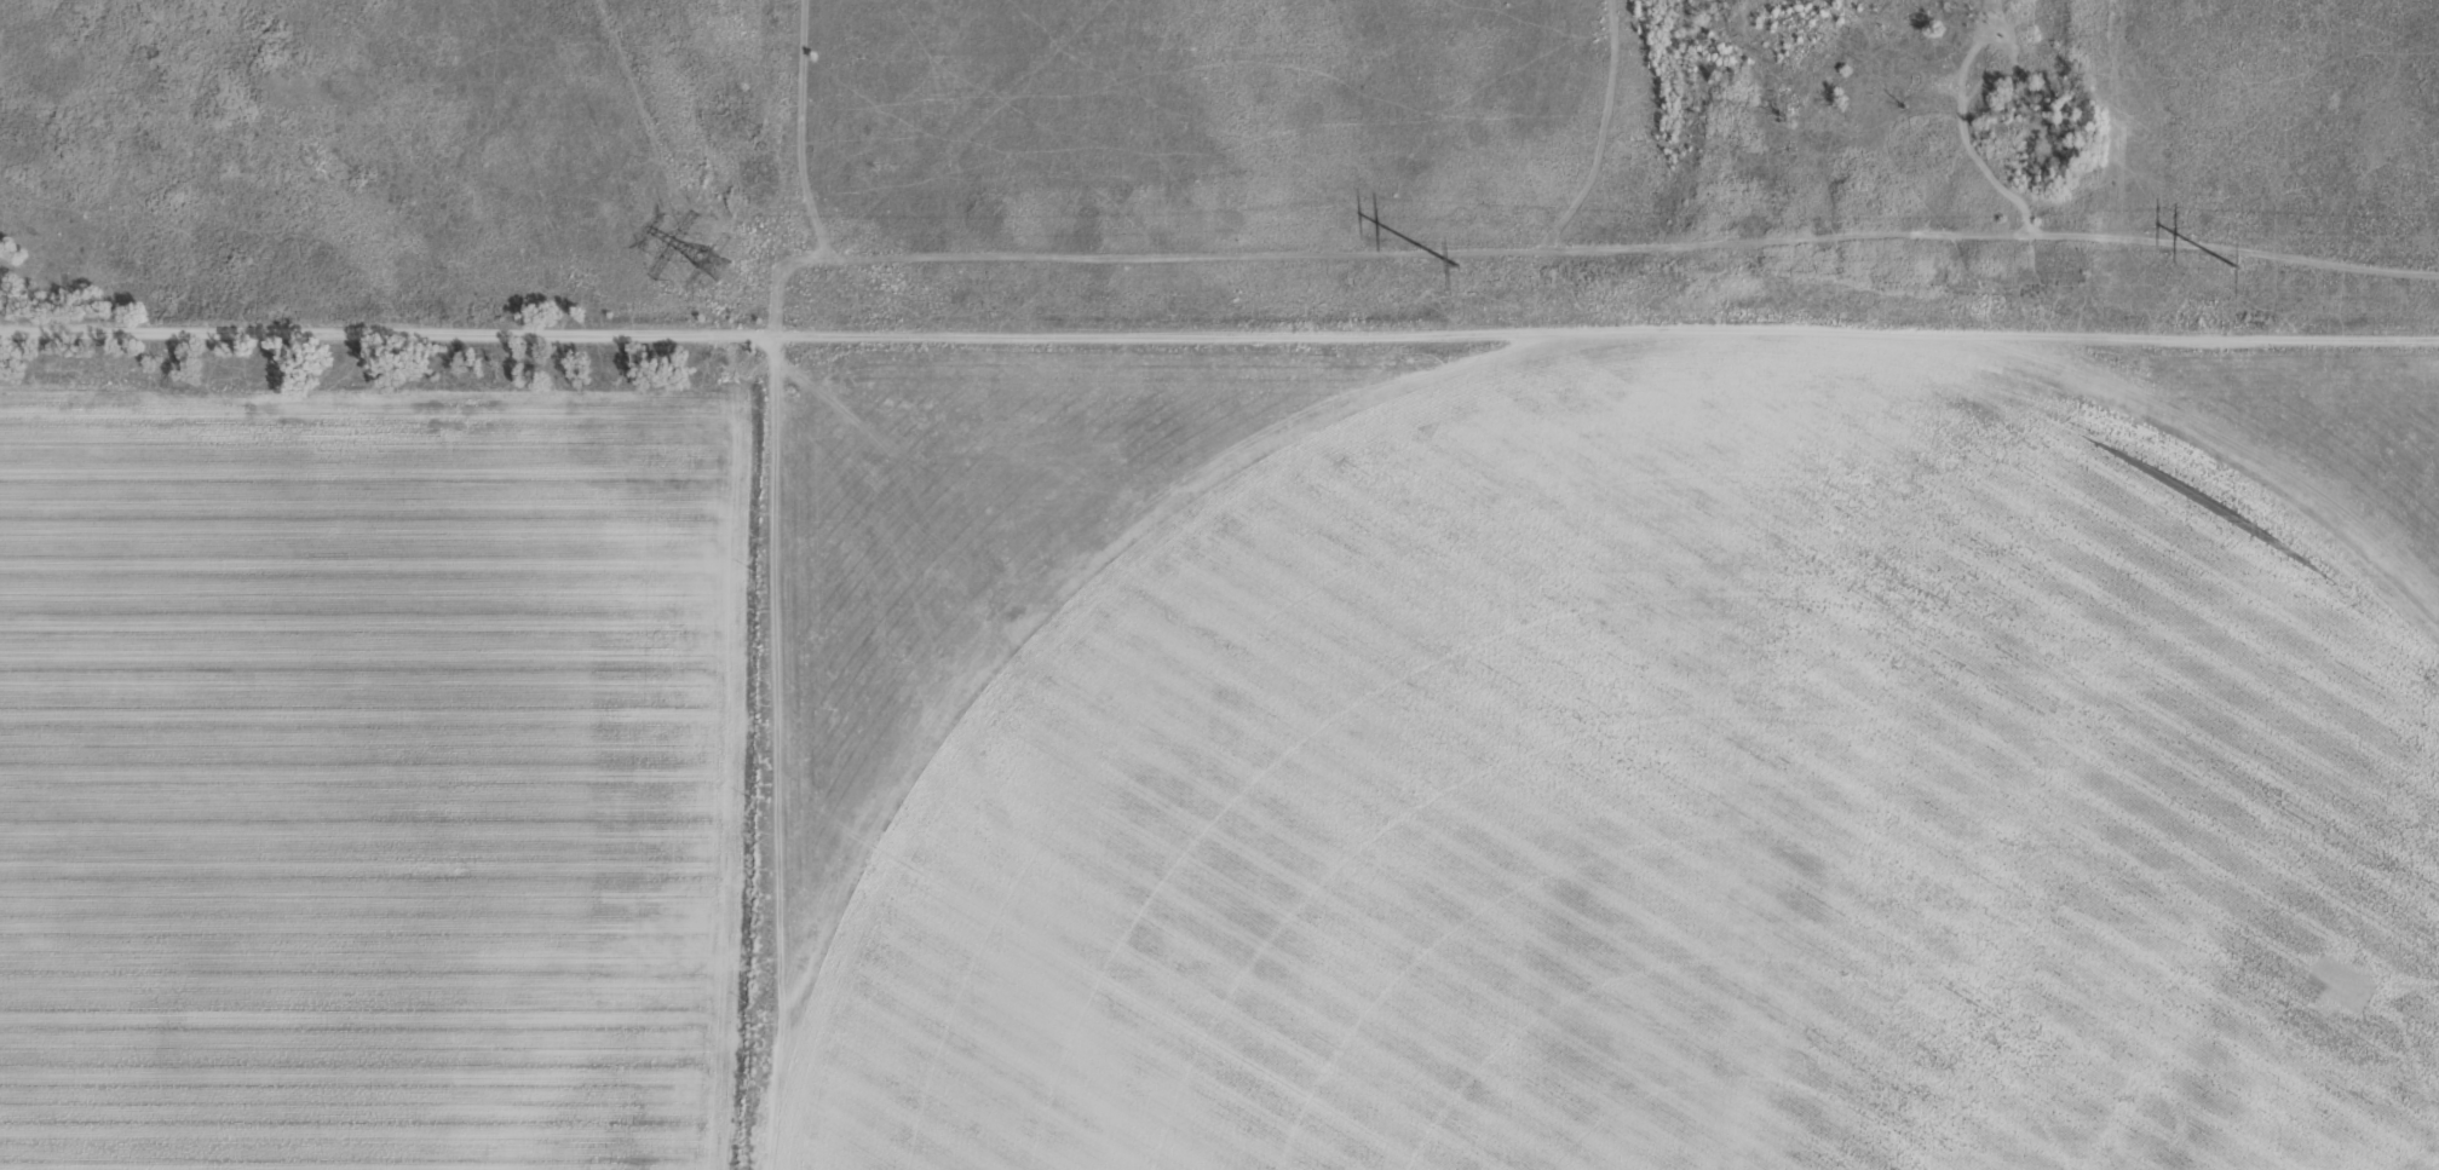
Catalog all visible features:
power tower: (714, 265)
power tower: (1456, 266)
power tower: (2239, 266)
road: (1219, 335)
railway: (891, 581)
crop: (1219, 584)

